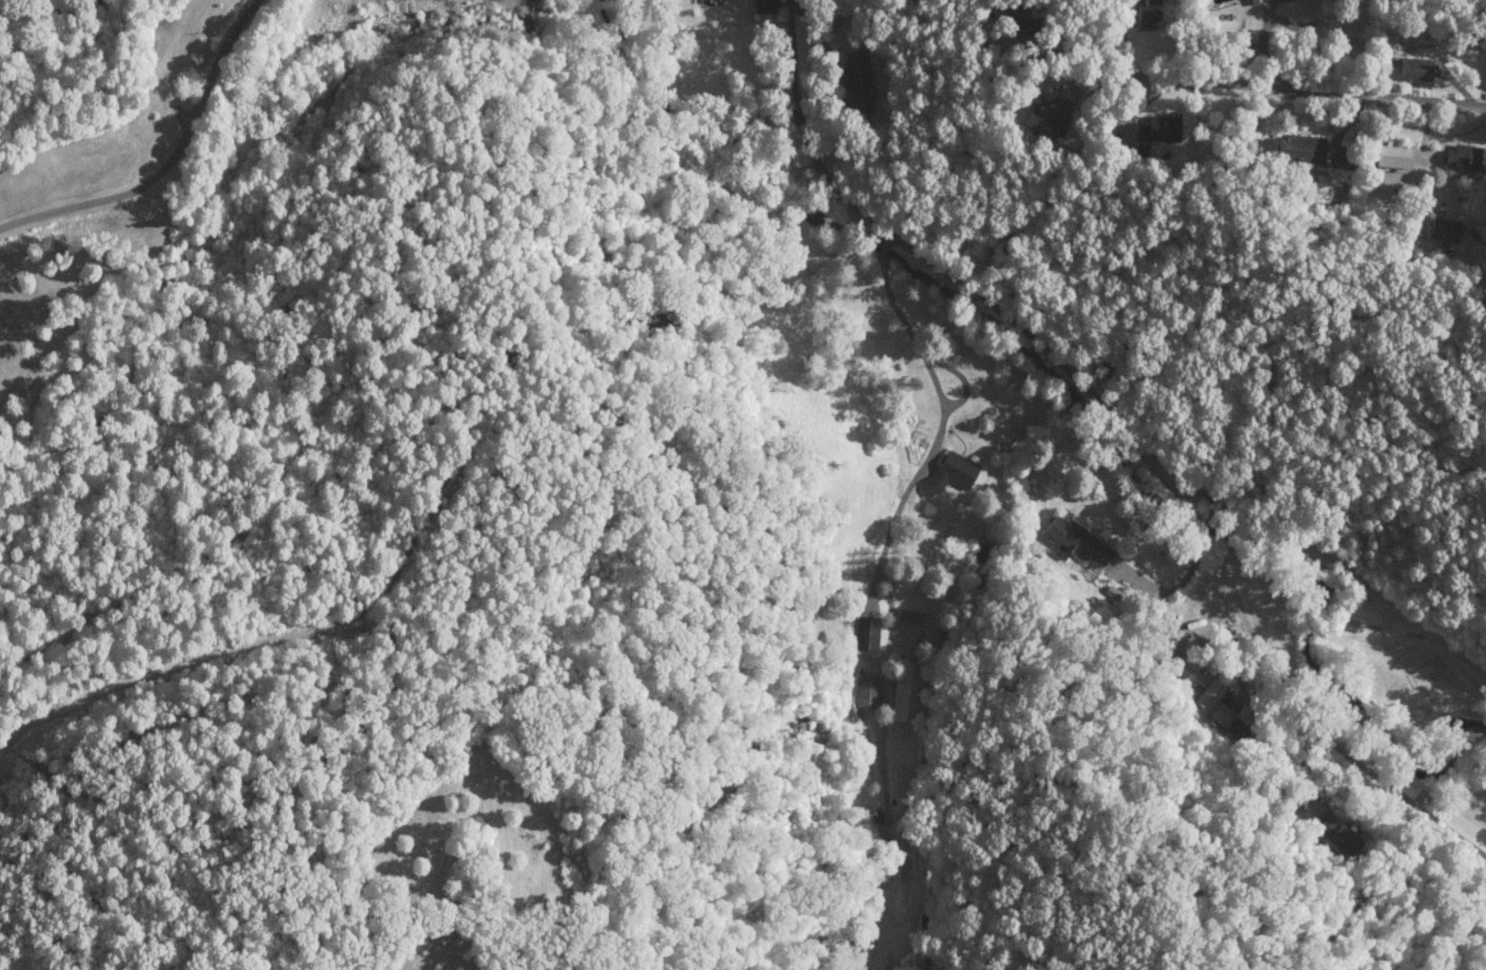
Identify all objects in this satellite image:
building: (762, 6)
building: (1146, 12)
building: (1018, 18)
building: (1413, 69)
building: (857, 82)
building: (1485, 85)
road: (1300, 93)
building: (1048, 117)
building: (1153, 132)
building: (1292, 147)
building: (1391, 155)
building: (1465, 157)
road: (164, 159)
building: (1443, 229)
road: (894, 331)
road: (1182, 458)
building: (949, 472)
building: (1111, 592)
building: (908, 617)
building: (866, 632)
building: (928, 636)
building: (905, 691)
building: (866, 692)
building: (1220, 708)
road: (1294, 740)
building: (1337, 835)

